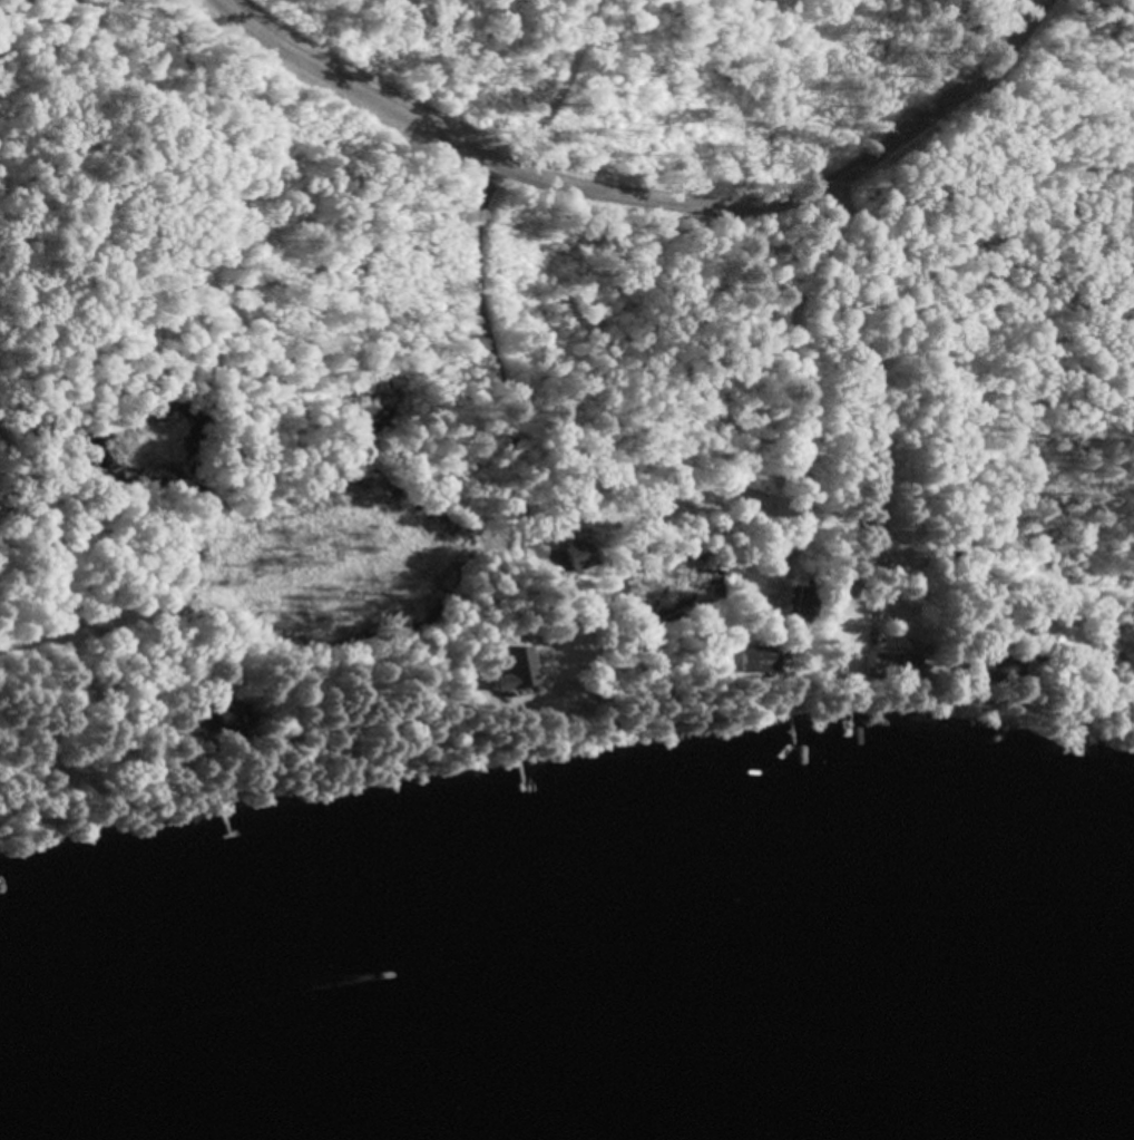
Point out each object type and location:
road: (643, 199)
building: (804, 603)
building: (761, 660)
building: (896, 664)
building: (999, 670)
building: (554, 679)

